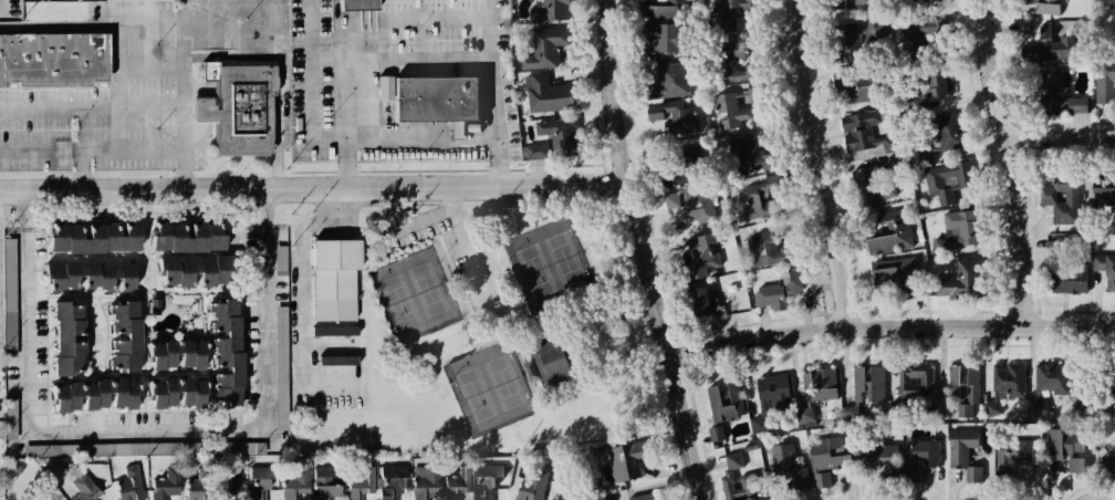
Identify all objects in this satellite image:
building: (932, 1)
building: (909, 2)
building: (1039, 2)
building: (551, 4)
building: (840, 4)
building: (356, 6)
building: (858, 7)
building: (1049, 7)
building: (46, 10)
road: (191, 11)
building: (660, 11)
building: (725, 17)
road: (402, 20)
road: (150, 22)
road: (59, 24)
building: (1035, 29)
road: (232, 35)
building: (935, 37)
building: (659, 39)
building: (857, 42)
building: (541, 48)
building: (1049, 48)
road: (227, 56)
building: (52, 58)
road: (439, 59)
building: (729, 63)
road: (150, 64)
road: (315, 71)
building: (668, 71)
building: (1106, 77)
building: (938, 80)
road: (195, 84)
road: (80, 86)
road: (118, 86)
building: (856, 86)
building: (1054, 86)
building: (385, 87)
road: (496, 91)
road: (64, 93)
building: (543, 95)
building: (433, 97)
road: (64, 102)
road: (184, 102)
road: (346, 102)
road: (59, 105)
road: (152, 105)
building: (239, 107)
building: (732, 110)
building: (670, 117)
road: (195, 133)
building: (866, 135)
building: (937, 137)
road: (1062, 138)
road: (407, 140)
building: (548, 142)
road: (83, 145)
road: (23, 148)
road: (133, 149)
building: (744, 156)
building: (895, 163)
road: (1014, 163)
road: (822, 165)
building: (674, 168)
road: (423, 169)
road: (498, 169)
road: (515, 169)
road: (314, 171)
road: (346, 171)
road: (315, 183)
road: (607, 186)
building: (873, 186)
building: (955, 186)
road: (448, 195)
road: (534, 202)
road: (611, 202)
road: (404, 204)
road: (447, 204)
building: (1063, 204)
building: (750, 205)
building: (1104, 208)
building: (686, 211)
building: (1091, 213)
road: (415, 221)
road: (302, 228)
building: (958, 232)
building: (885, 235)
building: (181, 237)
building: (91, 238)
road: (289, 247)
road: (648, 251)
building: (760, 251)
road: (467, 252)
building: (696, 257)
parking lot: (461, 261)
park: (548, 261)
building: (1106, 270)
building: (186, 271)
building: (86, 274)
road: (628, 277)
building: (329, 278)
building: (1066, 278)
building: (968, 283)
building: (898, 284)
building: (773, 292)
park: (411, 294)
building: (156, 300)
building: (692, 303)
road: (493, 312)
road: (472, 313)
road: (441, 326)
road: (559, 326)
road: (892, 327)
building: (334, 331)
road: (463, 332)
building: (121, 335)
building: (66, 336)
road: (488, 337)
road: (509, 337)
road: (530, 337)
park: (493, 341)
road: (665, 344)
road: (471, 347)
road: (648, 348)
building: (221, 352)
building: (281, 352)
building: (174, 353)
building: (553, 360)
building: (338, 361)
road: (522, 369)
building: (532, 369)
building: (1009, 376)
building: (915, 379)
building: (822, 385)
building: (963, 385)
building: (869, 386)
park: (488, 387)
road: (546, 387)
building: (772, 389)
building: (1055, 390)
building: (175, 393)
building: (92, 394)
building: (720, 406)
building: (282, 408)
road: (660, 408)
building: (852, 412)
building: (806, 415)
road: (539, 419)
road: (241, 421)
building: (962, 445)
building: (113, 449)
building: (598, 449)
building: (920, 450)
building: (1015, 455)
building: (1071, 455)
building: (628, 456)
building: (830, 458)
building: (875, 458)
building: (1108, 459)
building: (792, 470)
building: (972, 472)
building: (914, 473)
building: (736, 476)
building: (390, 479)
building: (260, 480)
building: (294, 480)
building: (326, 481)
building: (459, 481)
building: (126, 482)
building: (167, 482)
building: (425, 482)
building: (493, 482)
building: (199, 483)
building: (229, 483)
building: (533, 483)
building: (362, 485)
building: (84, 488)
building: (566, 494)
building: (643, 496)
building: (44, 498)

